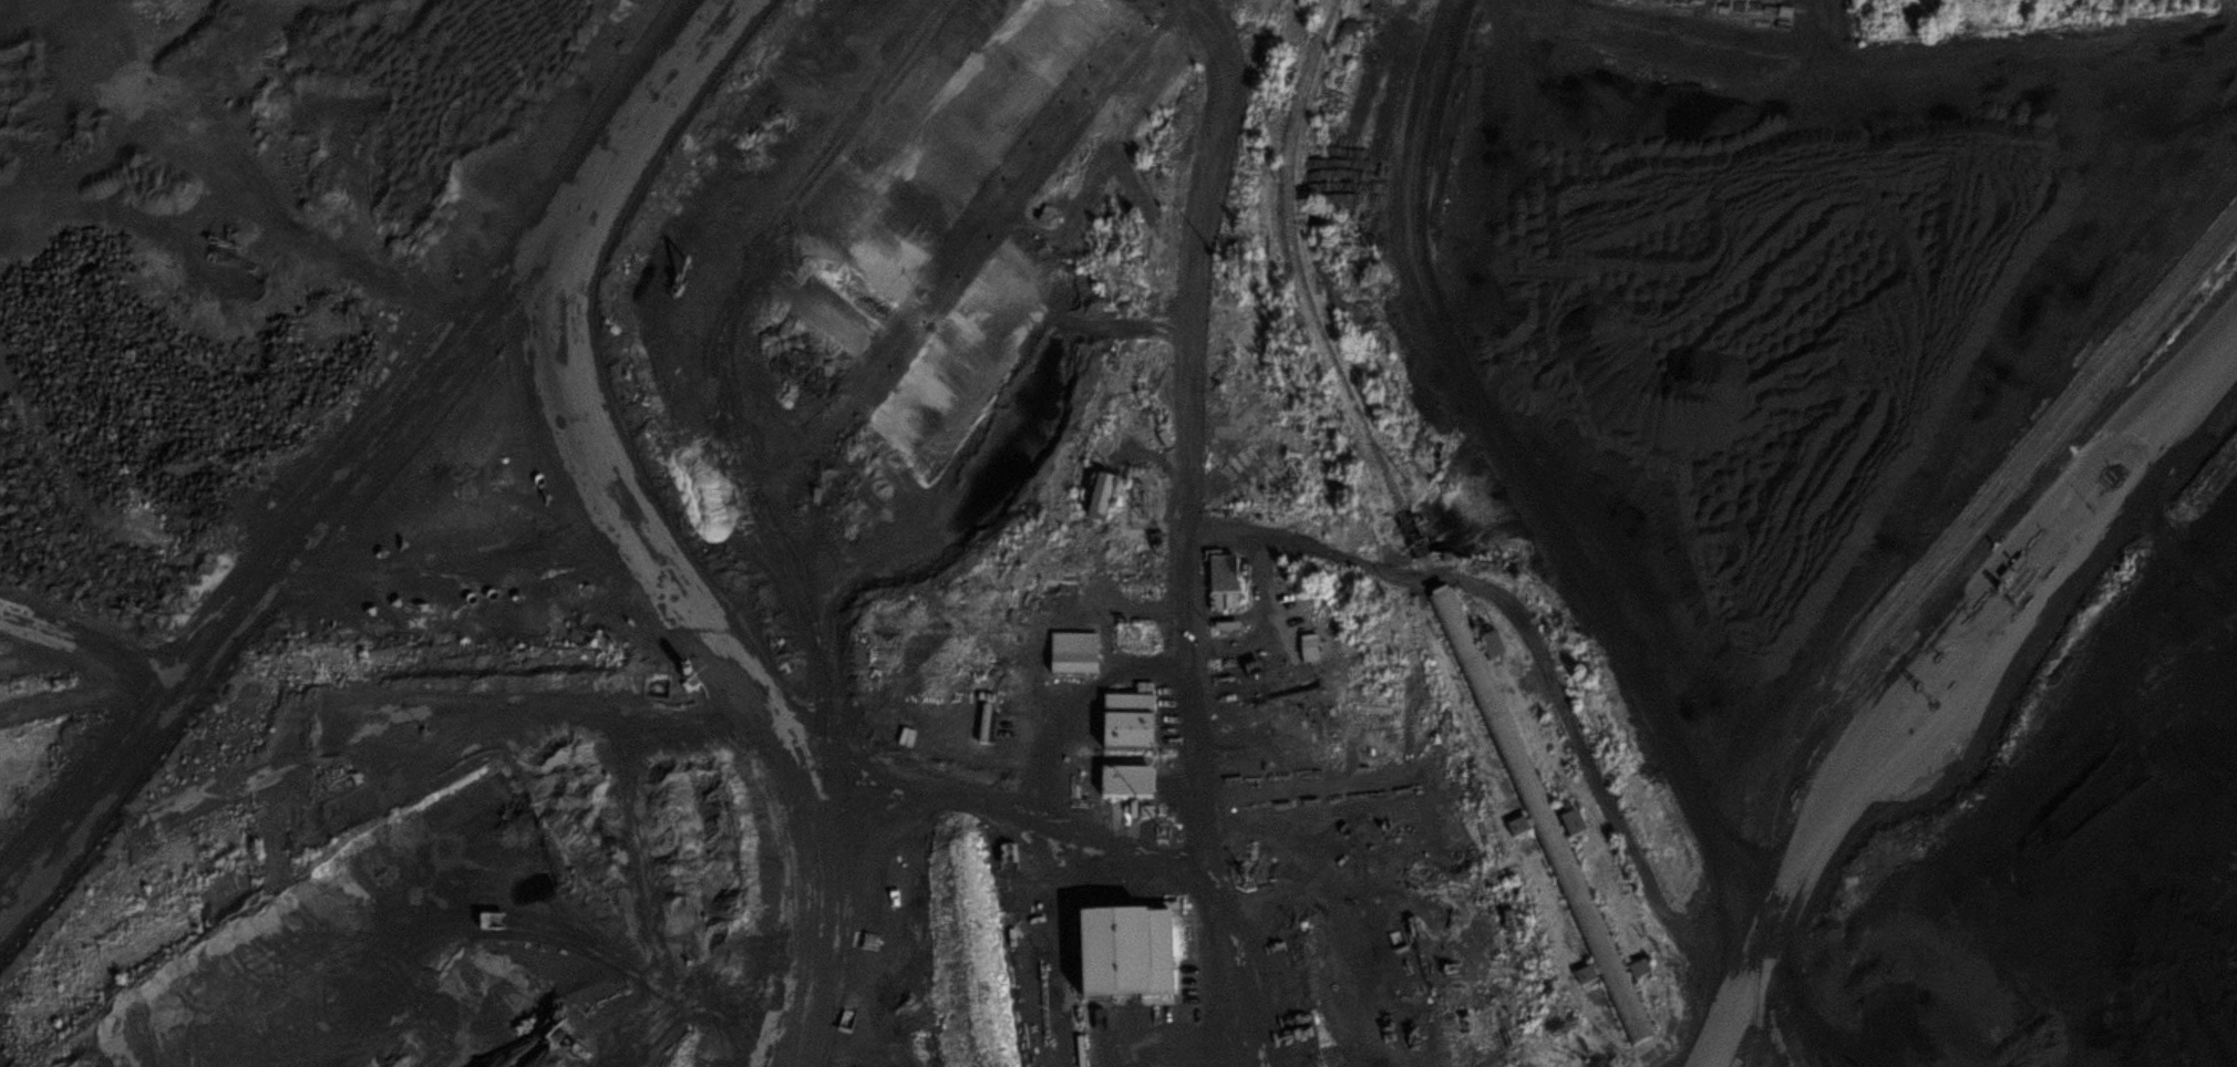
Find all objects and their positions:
railway: (1908, 612)
landfill: (2084, 846)

